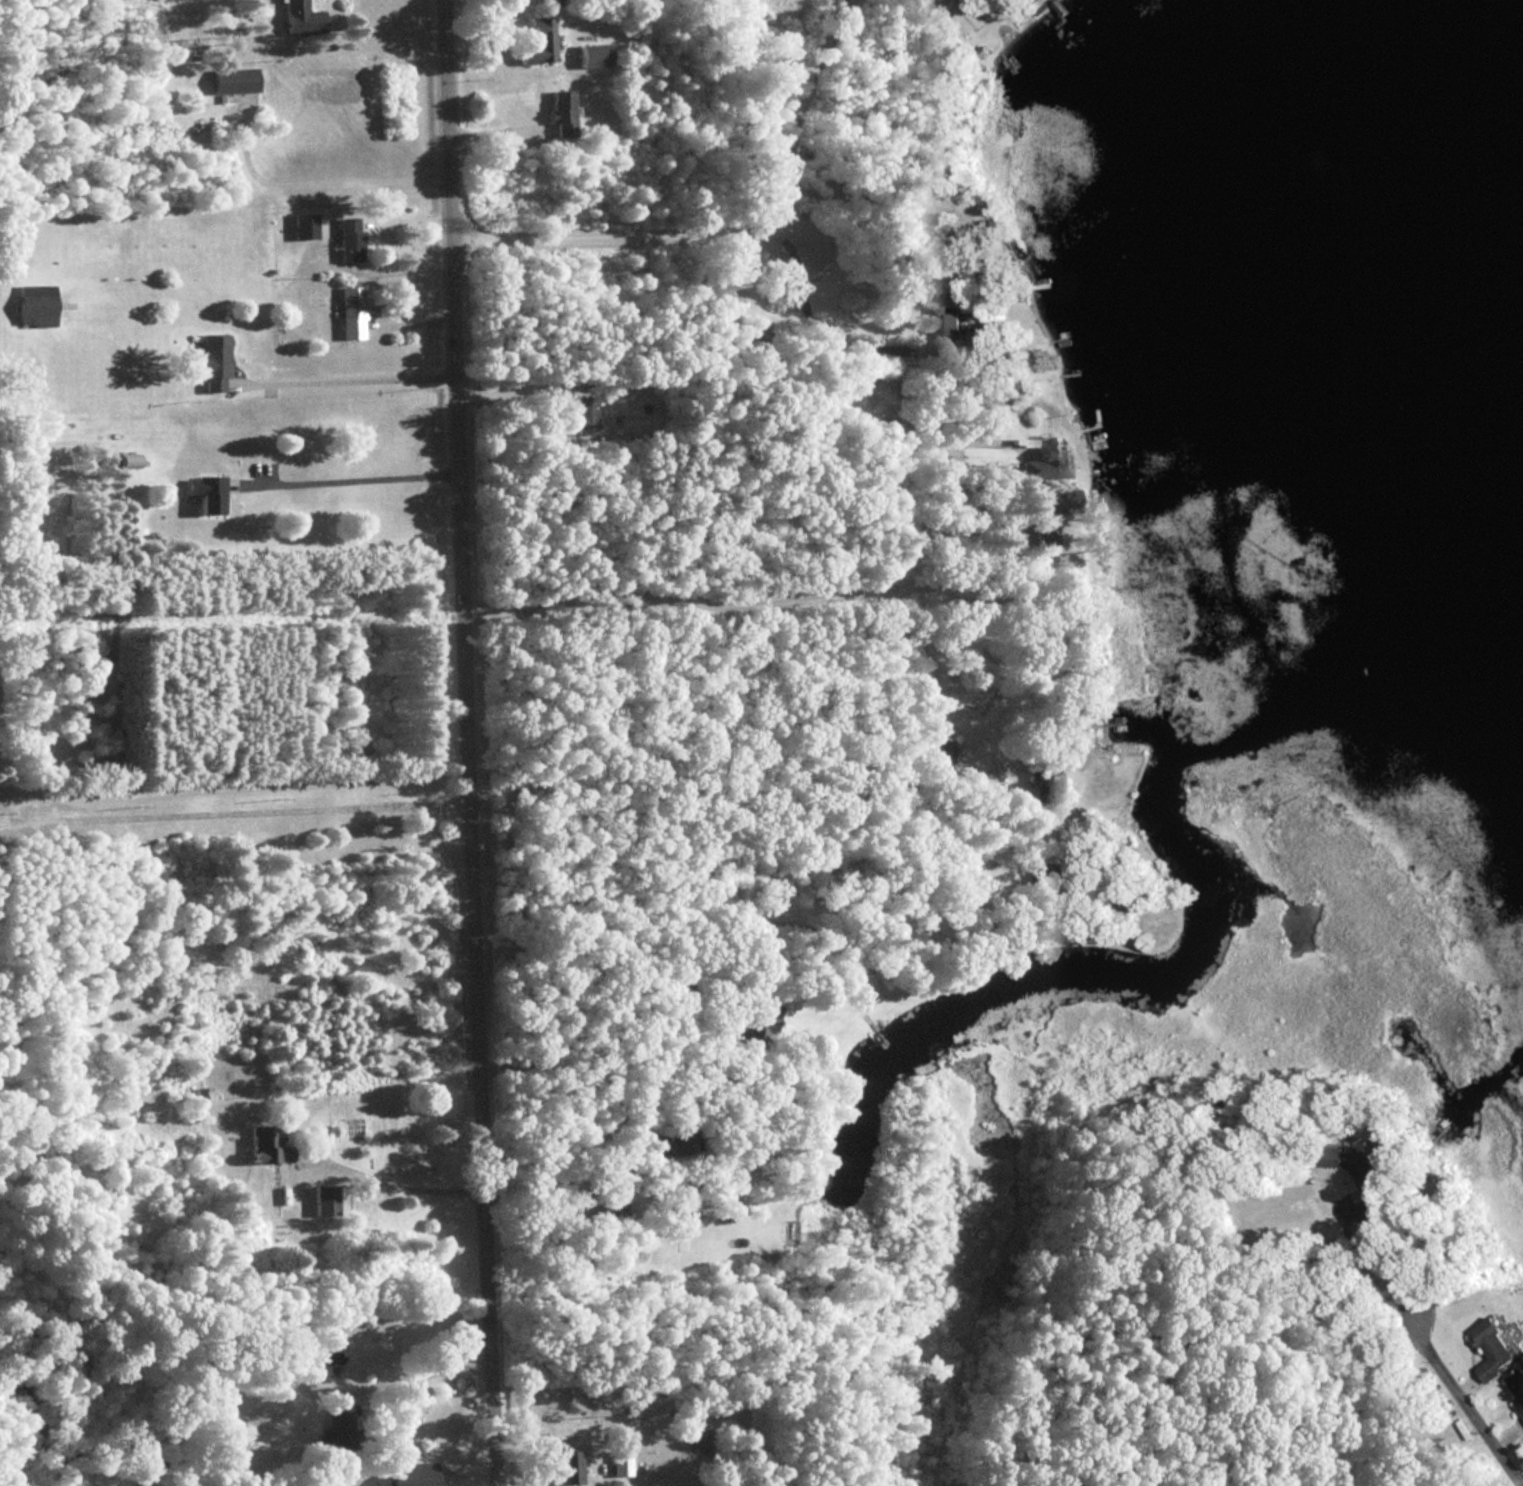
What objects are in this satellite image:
building: (299, 18)
building: (534, 42)
building: (591, 56)
building: (233, 81)
building: (558, 111)
road: (321, 180)
building: (300, 226)
road: (732, 228)
building: (346, 240)
building: (32, 310)
building: (349, 312)
building: (946, 324)
road: (804, 333)
building: (209, 361)
road: (345, 377)
road: (513, 393)
building: (584, 415)
building: (1042, 460)
road: (354, 480)
building: (203, 493)
road: (694, 599)
road: (471, 743)
building: (1041, 780)
road: (236, 785)
building: (1031, 875)
building: (264, 1145)
building: (1342, 1157)
road: (396, 1175)
building: (322, 1200)
road: (1426, 1340)
building: (1491, 1350)
road: (398, 1378)
building: (1517, 1387)
building: (333, 1433)
building: (617, 1463)
building: (548, 1470)
building: (408, 1475)

